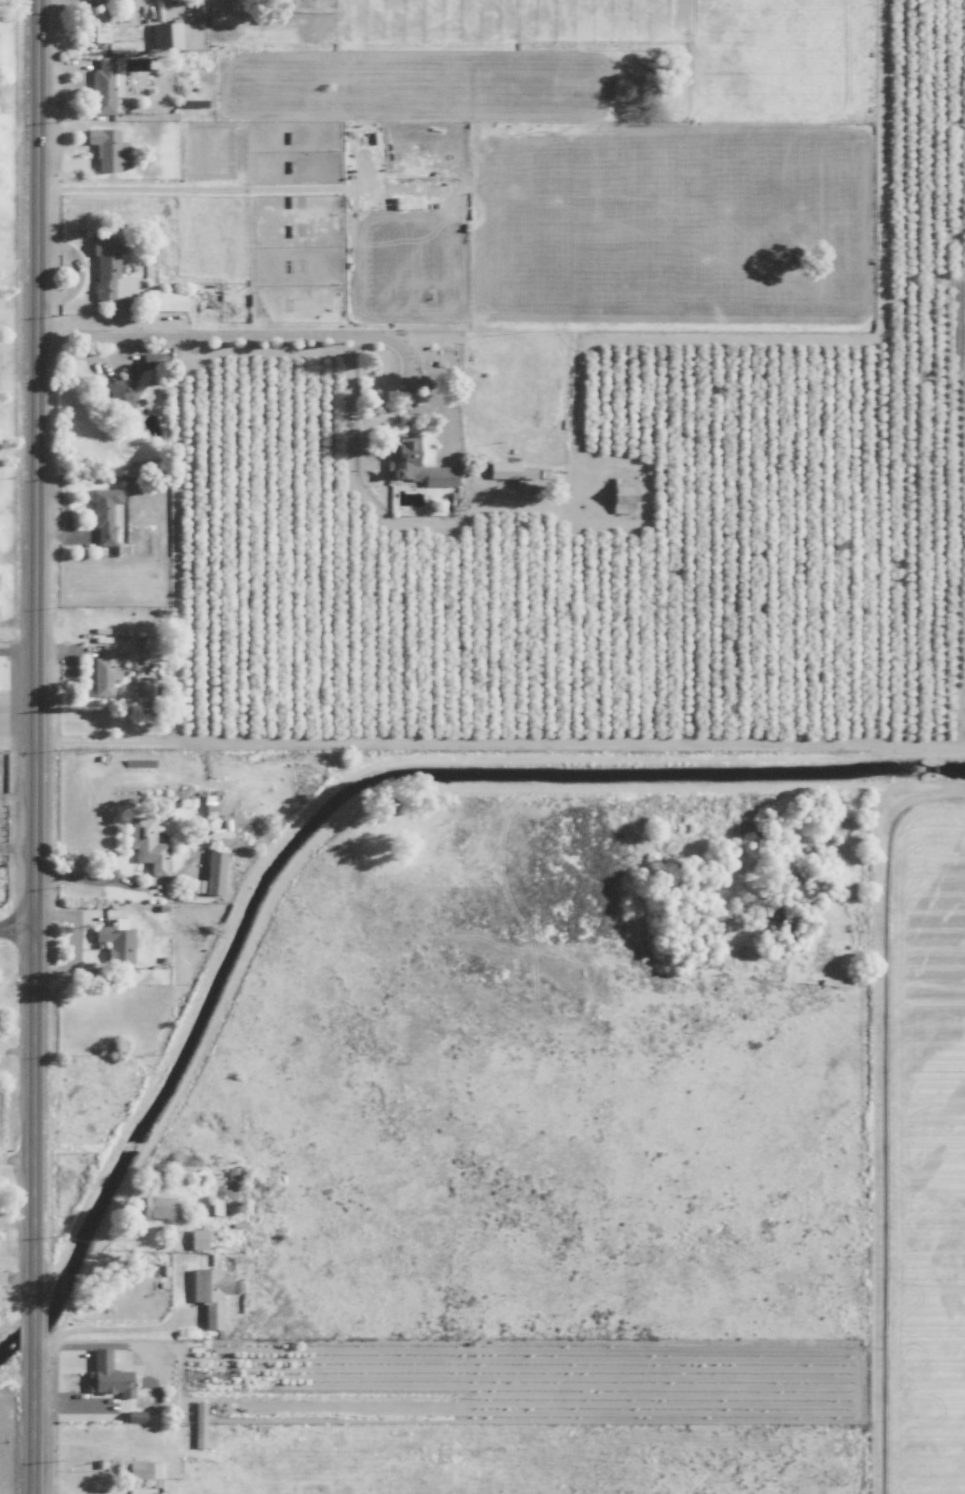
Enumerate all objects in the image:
building: (99, 26)
building: (165, 35)
building: (102, 86)
building: (103, 146)
building: (105, 267)
building: (163, 299)
road: (287, 331)
park: (7, 366)
road: (416, 385)
building: (125, 386)
building: (404, 456)
building: (503, 470)
building: (442, 476)
building: (622, 494)
building: (105, 515)
crop: (608, 620)
road: (16, 650)
road: (33, 653)
building: (104, 669)
building: (142, 680)
building: (146, 845)
building: (213, 873)
road: (82, 877)
road: (16, 927)
building: (115, 941)
building: (160, 1208)
building: (196, 1239)
building: (209, 1294)
road: (32, 1325)
road: (99, 1328)
building: (107, 1373)
road: (31, 1418)
building: (199, 1421)

